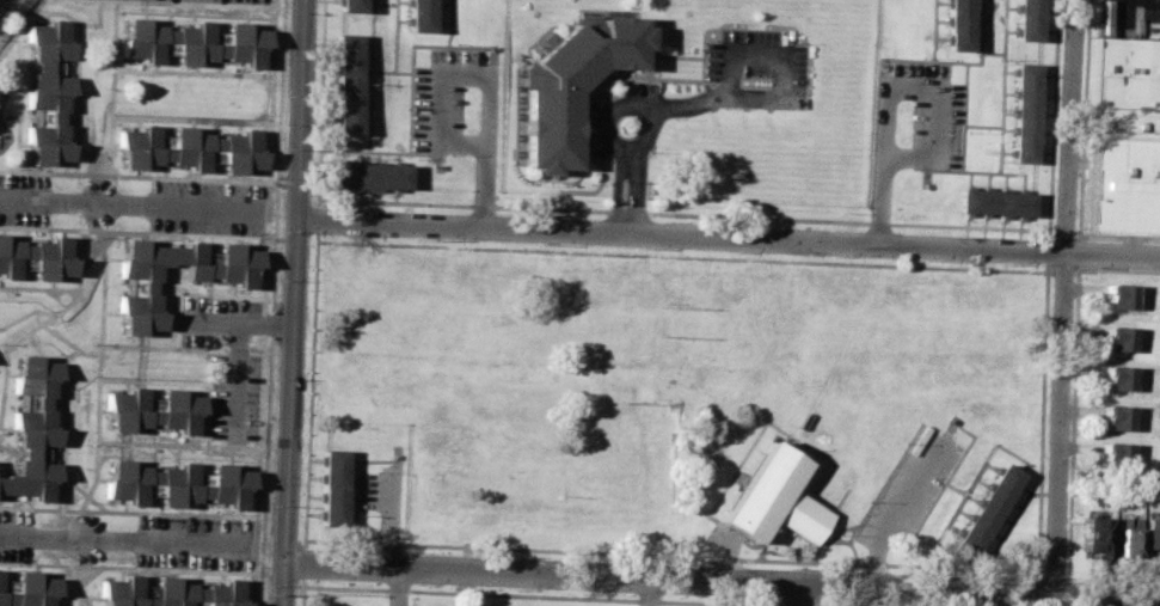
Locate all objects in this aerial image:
parking lot: (231, 1)
road: (386, 2)
building: (351, 4)
road: (100, 10)
road: (987, 11)
road: (996, 12)
building: (422, 13)
road: (13, 18)
building: (1027, 18)
parking lot: (1128, 18)
building: (957, 23)
road: (397, 36)
building: (191, 42)
road: (372, 47)
road: (781, 51)
road: (990, 51)
road: (955, 61)
road: (18, 62)
parking lot: (757, 67)
road: (194, 72)
road: (404, 72)
road: (484, 73)
road: (411, 78)
building: (346, 82)
building: (571, 84)
road: (880, 84)
building: (45, 90)
road: (111, 94)
parking lot: (442, 97)
road: (685, 103)
building: (1024, 111)
parking lot: (916, 114)
road: (962, 116)
road: (191, 120)
road: (1085, 120)
road: (981, 124)
road: (368, 130)
road: (999, 131)
building: (1124, 136)
road: (645, 137)
building: (188, 147)
road: (106, 165)
building: (369, 173)
road: (133, 176)
road: (632, 189)
road: (615, 190)
parking lot: (22, 198)
road: (336, 200)
building: (996, 201)
road: (129, 206)
parking lot: (207, 207)
road: (766, 218)
road: (313, 220)
road: (171, 233)
road: (1051, 233)
road: (681, 234)
road: (1063, 235)
road: (290, 238)
road: (1117, 238)
road: (1080, 252)
road: (1112, 253)
building: (35, 256)
road: (1080, 268)
building: (140, 283)
road: (37, 288)
road: (186, 292)
building: (1119, 295)
road: (262, 302)
road: (294, 302)
road: (1062, 302)
road: (24, 314)
parking lot: (213, 318)
road: (237, 319)
road: (43, 320)
road: (100, 328)
road: (59, 336)
building: (1116, 337)
road: (167, 347)
road: (0, 353)
building: (1116, 375)
road: (235, 380)
road: (184, 381)
road: (1075, 386)
parking lot: (233, 397)
building: (151, 409)
building: (1115, 416)
road: (63, 424)
building: (32, 427)
road: (177, 443)
building: (1113, 452)
building: (173, 484)
building: (332, 485)
parking lot: (378, 488)
road: (59, 492)
building: (773, 497)
building: (987, 506)
road: (897, 509)
road: (127, 510)
road: (387, 519)
building: (1092, 533)
building: (1150, 533)
parking lot: (14, 534)
building: (1127, 537)
road: (123, 541)
parking lot: (192, 541)
road: (305, 562)
road: (125, 567)
road: (1036, 570)
road: (1039, 571)
road: (1052, 574)
road: (1113, 580)
road: (722, 582)
road: (74, 584)
road: (397, 586)
building: (27, 588)
building: (168, 592)
road: (649, 592)
road: (540, 594)
road: (301, 595)
road: (794, 595)
road: (84, 599)
road: (718, 604)
road: (794, 604)
road: (811, 605)
road: (843, 605)

